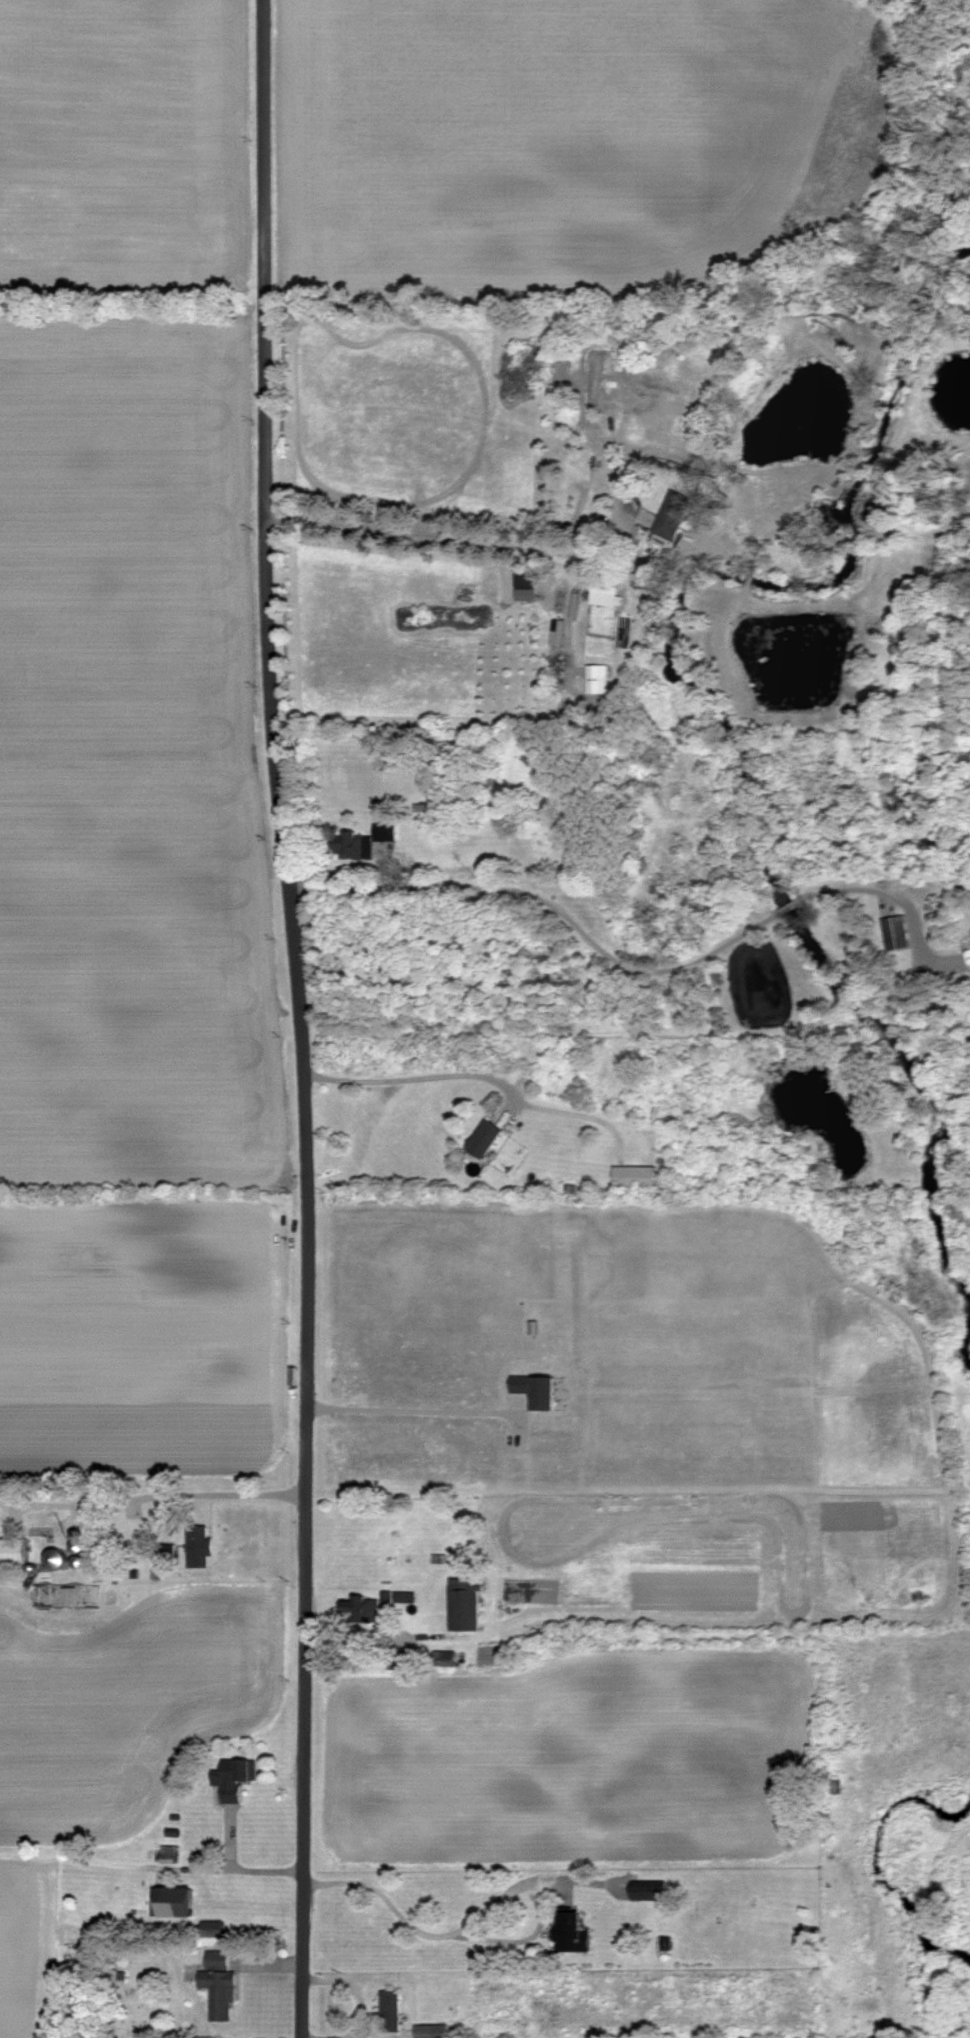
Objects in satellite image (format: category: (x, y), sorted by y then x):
building: (675, 516)
road: (458, 538)
building: (606, 585)
building: (598, 679)
building: (362, 842)
road: (426, 869)
building: (897, 933)
building: (968, 956)
road: (636, 968)
road: (300, 1018)
road: (416, 1075)
building: (487, 1140)
building: (635, 1178)
building: (533, 1327)
building: (538, 1390)
road: (411, 1409)
road: (150, 1496)
road: (165, 1518)
building: (79, 1535)
building: (199, 1545)
building: (80, 1547)
building: (14, 1552)
building: (166, 1552)
building: (58, 1559)
building: (80, 1562)
building: (34, 1568)
road: (13, 1594)
building: (466, 1606)
building: (360, 1610)
building: (446, 1659)
building: (235, 1776)
building: (170, 1855)
road: (238, 1869)
building: (650, 1893)
building: (174, 1900)
building: (573, 1932)
building: (73, 1935)
road: (477, 1937)
crop: (26, 1950)
building: (220, 1987)
building: (390, 2011)
building: (431, 2031)

